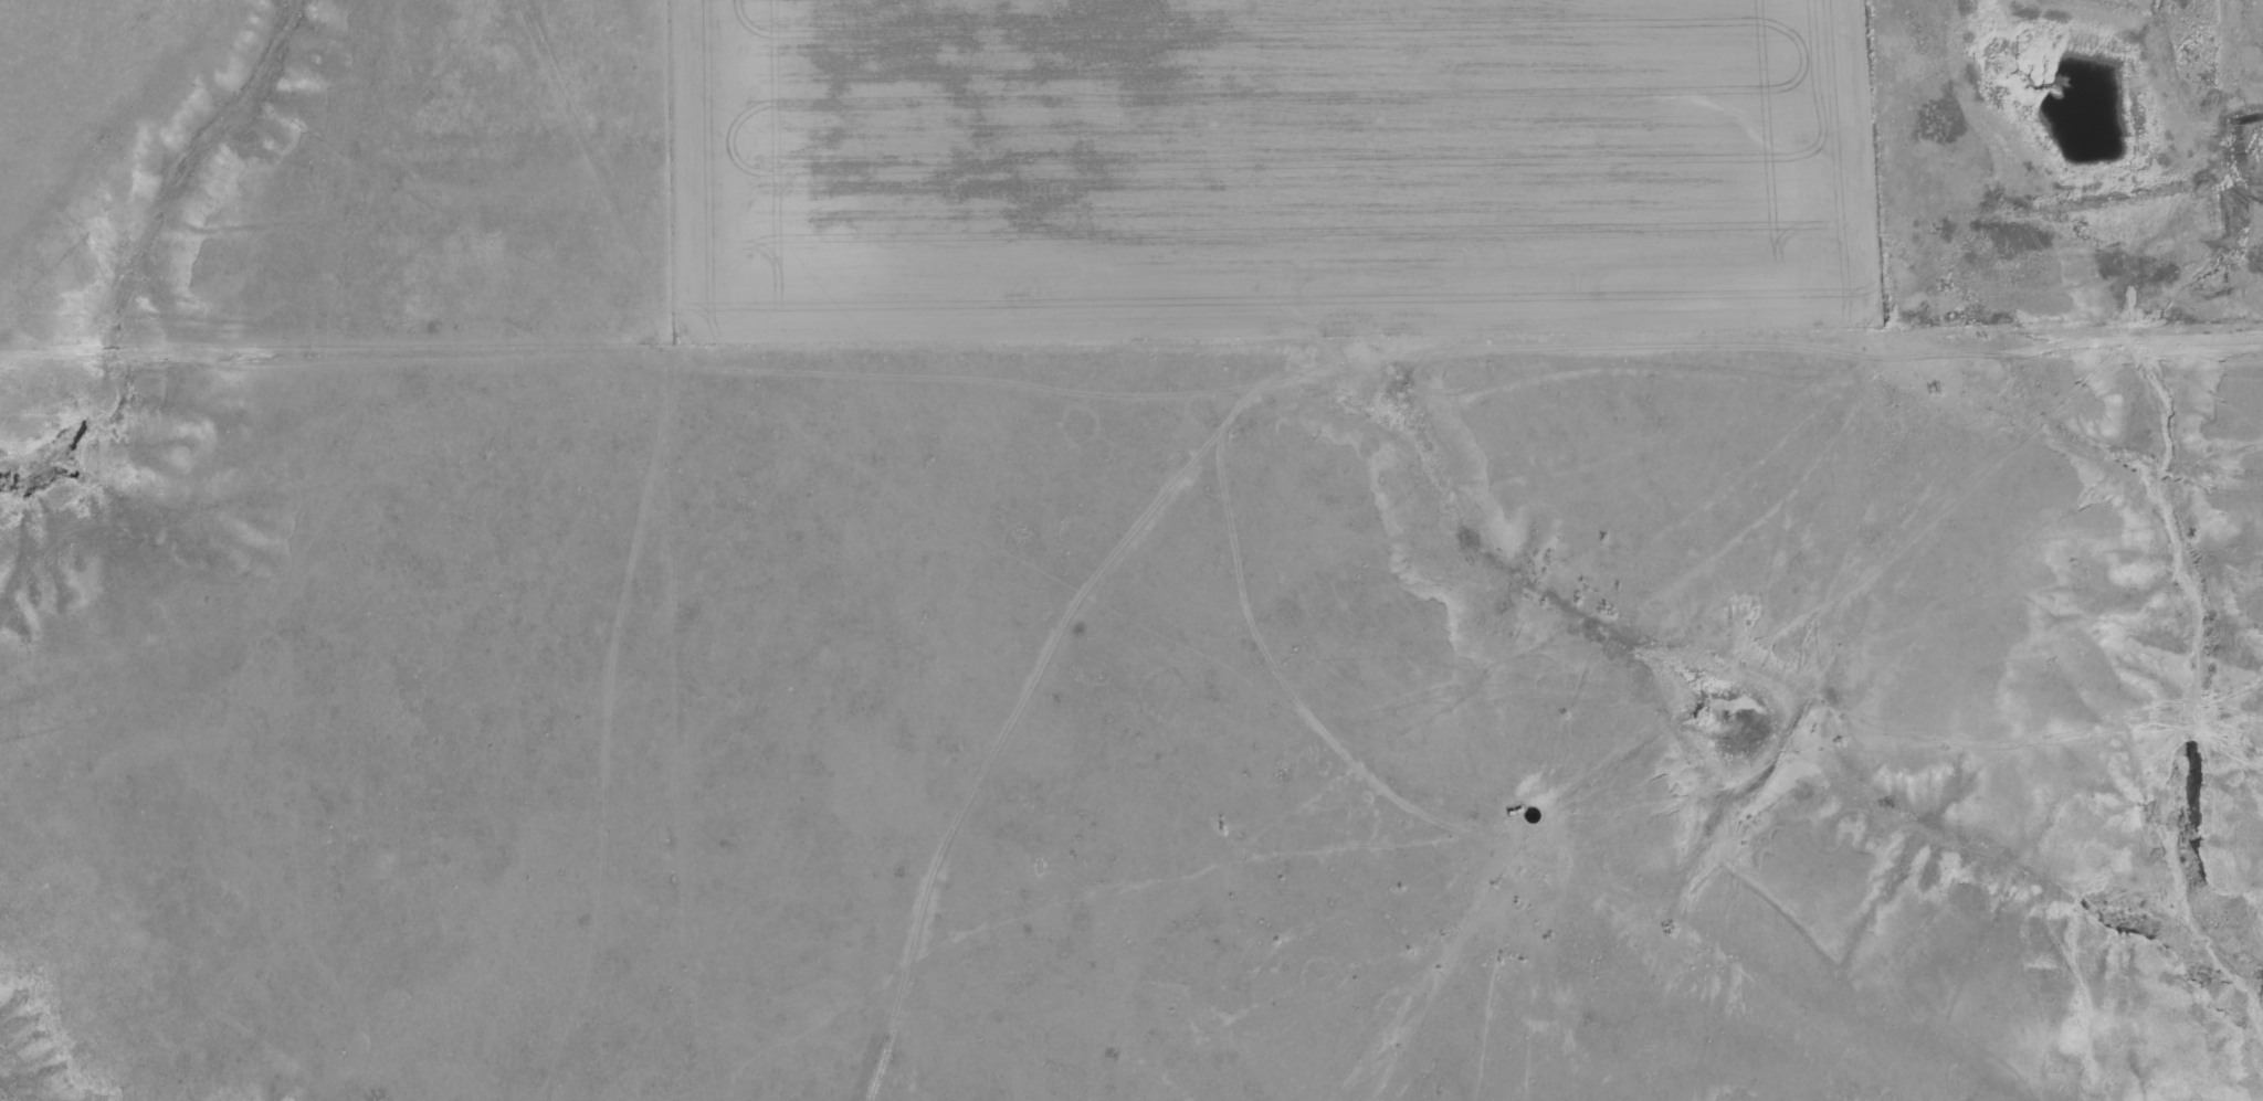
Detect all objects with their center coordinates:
road: (1229, 499)

